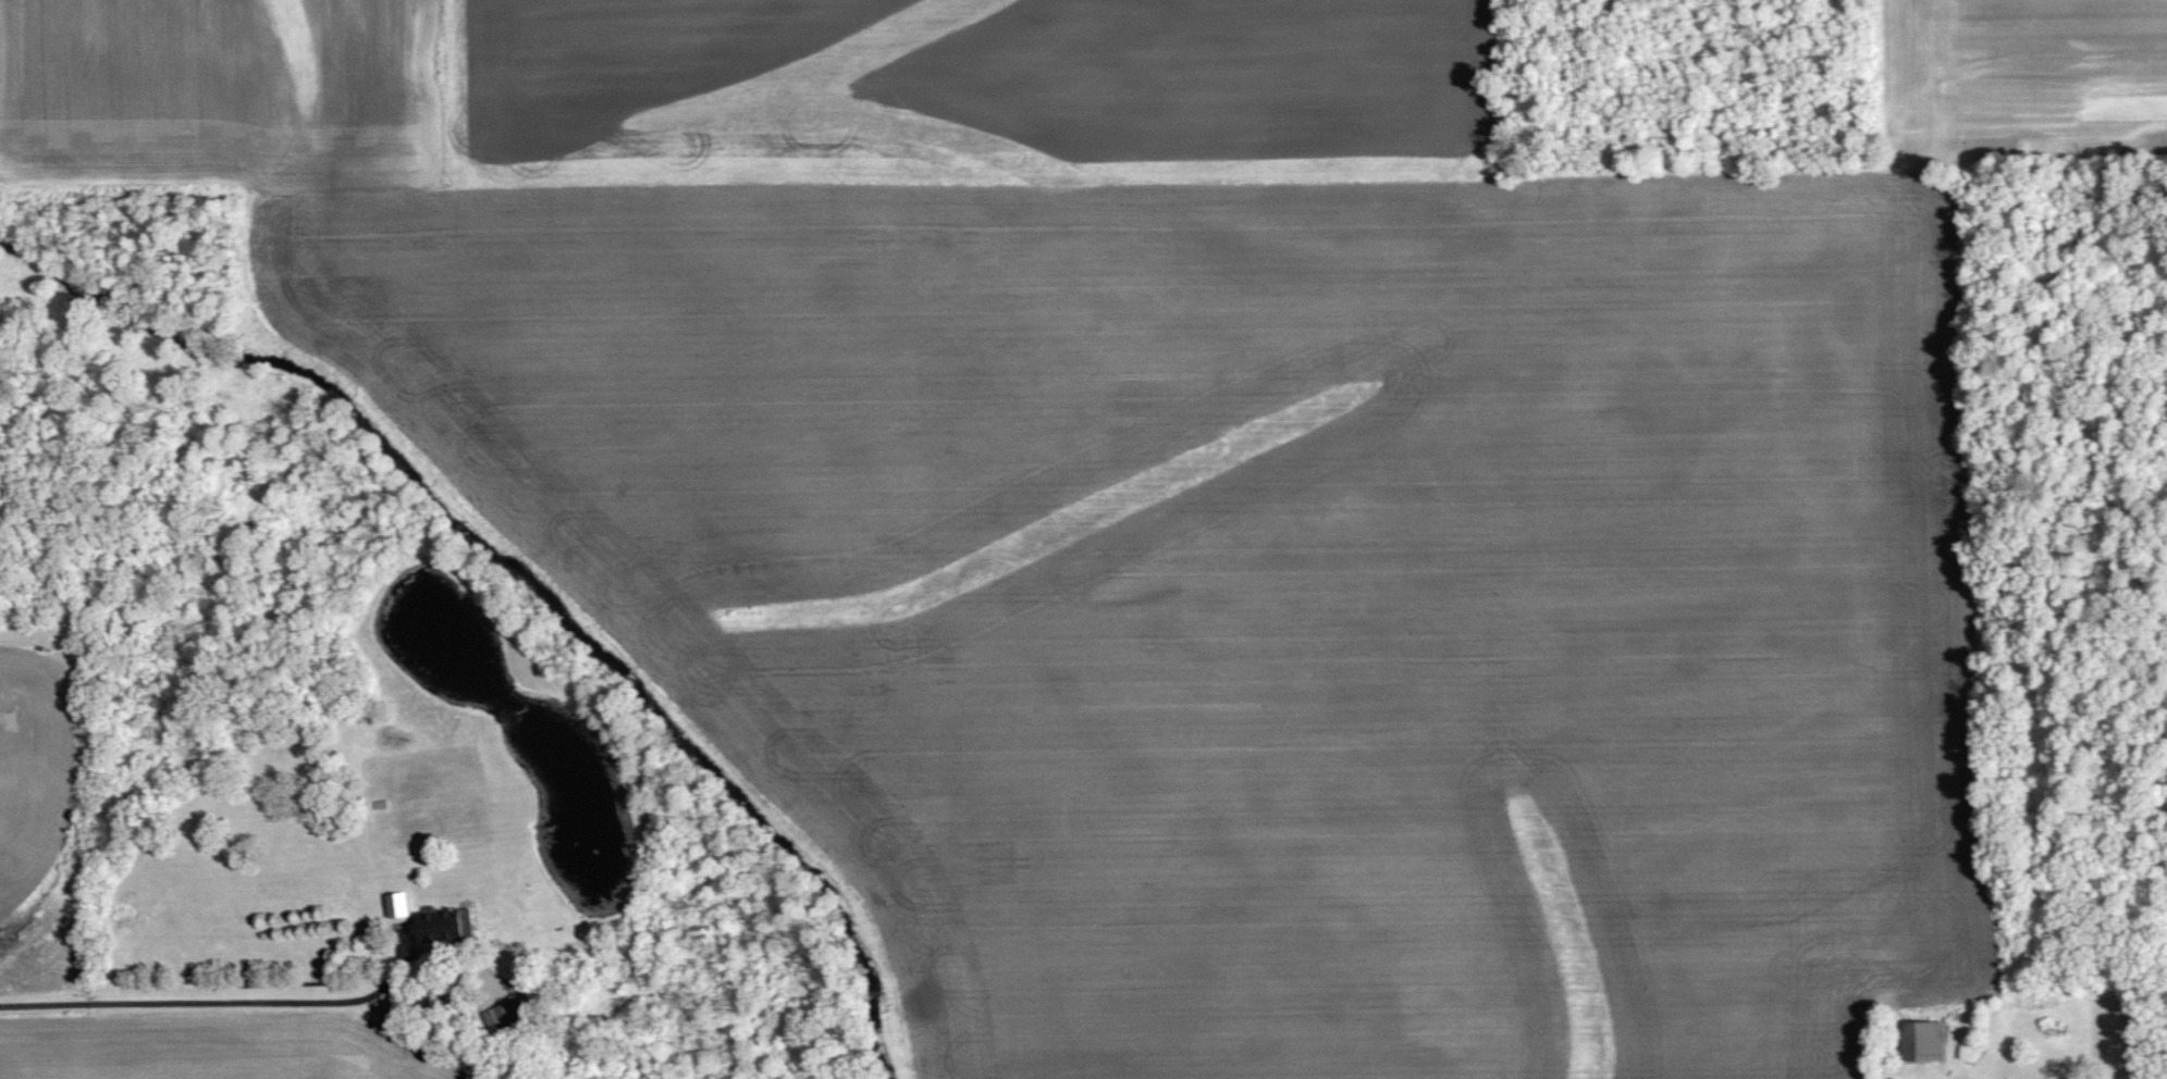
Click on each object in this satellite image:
building: (396, 904)
building: (439, 928)
road: (220, 1003)
building: (1924, 1039)

